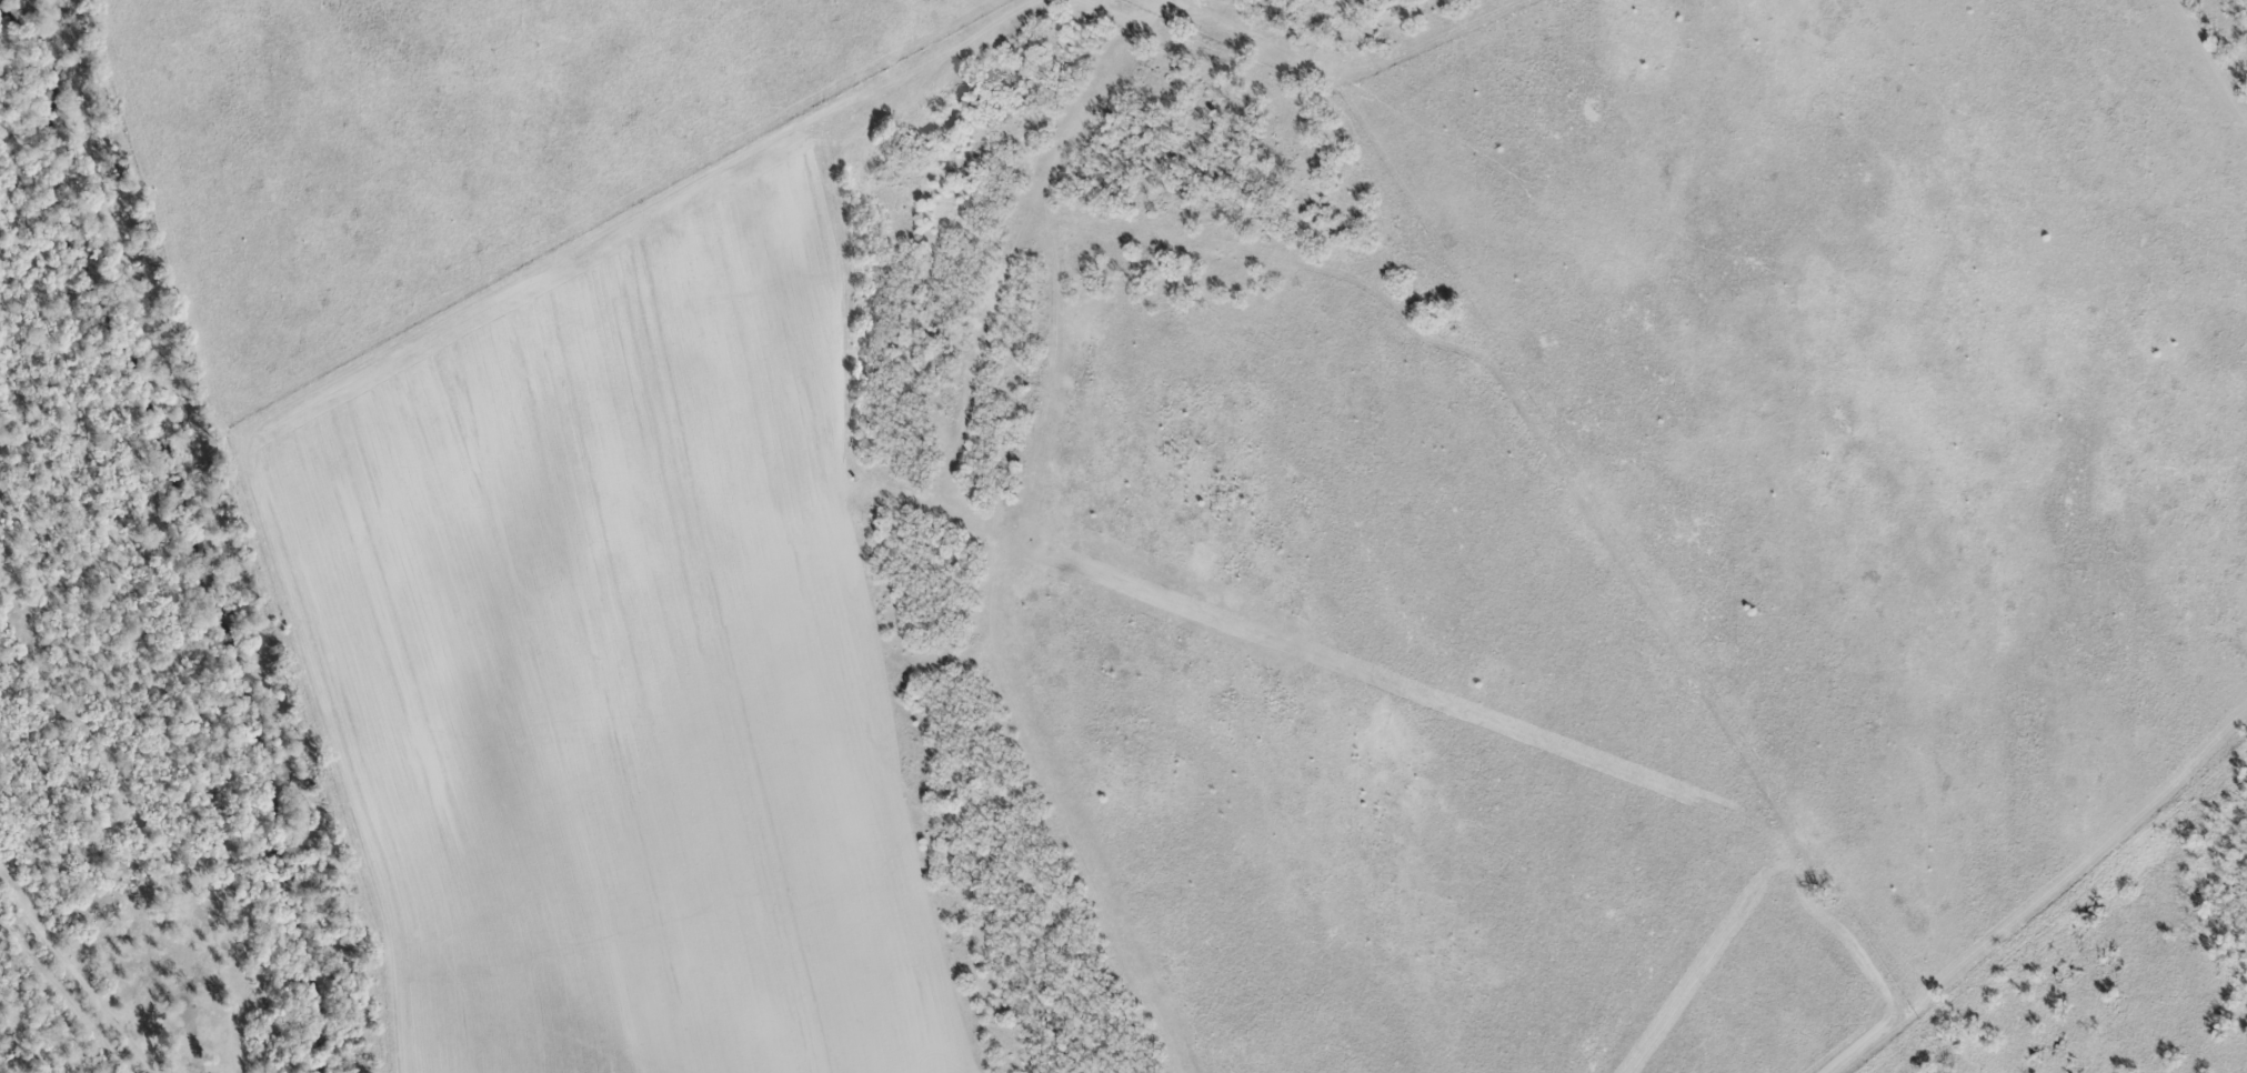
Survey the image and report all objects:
river: (185, 523)

